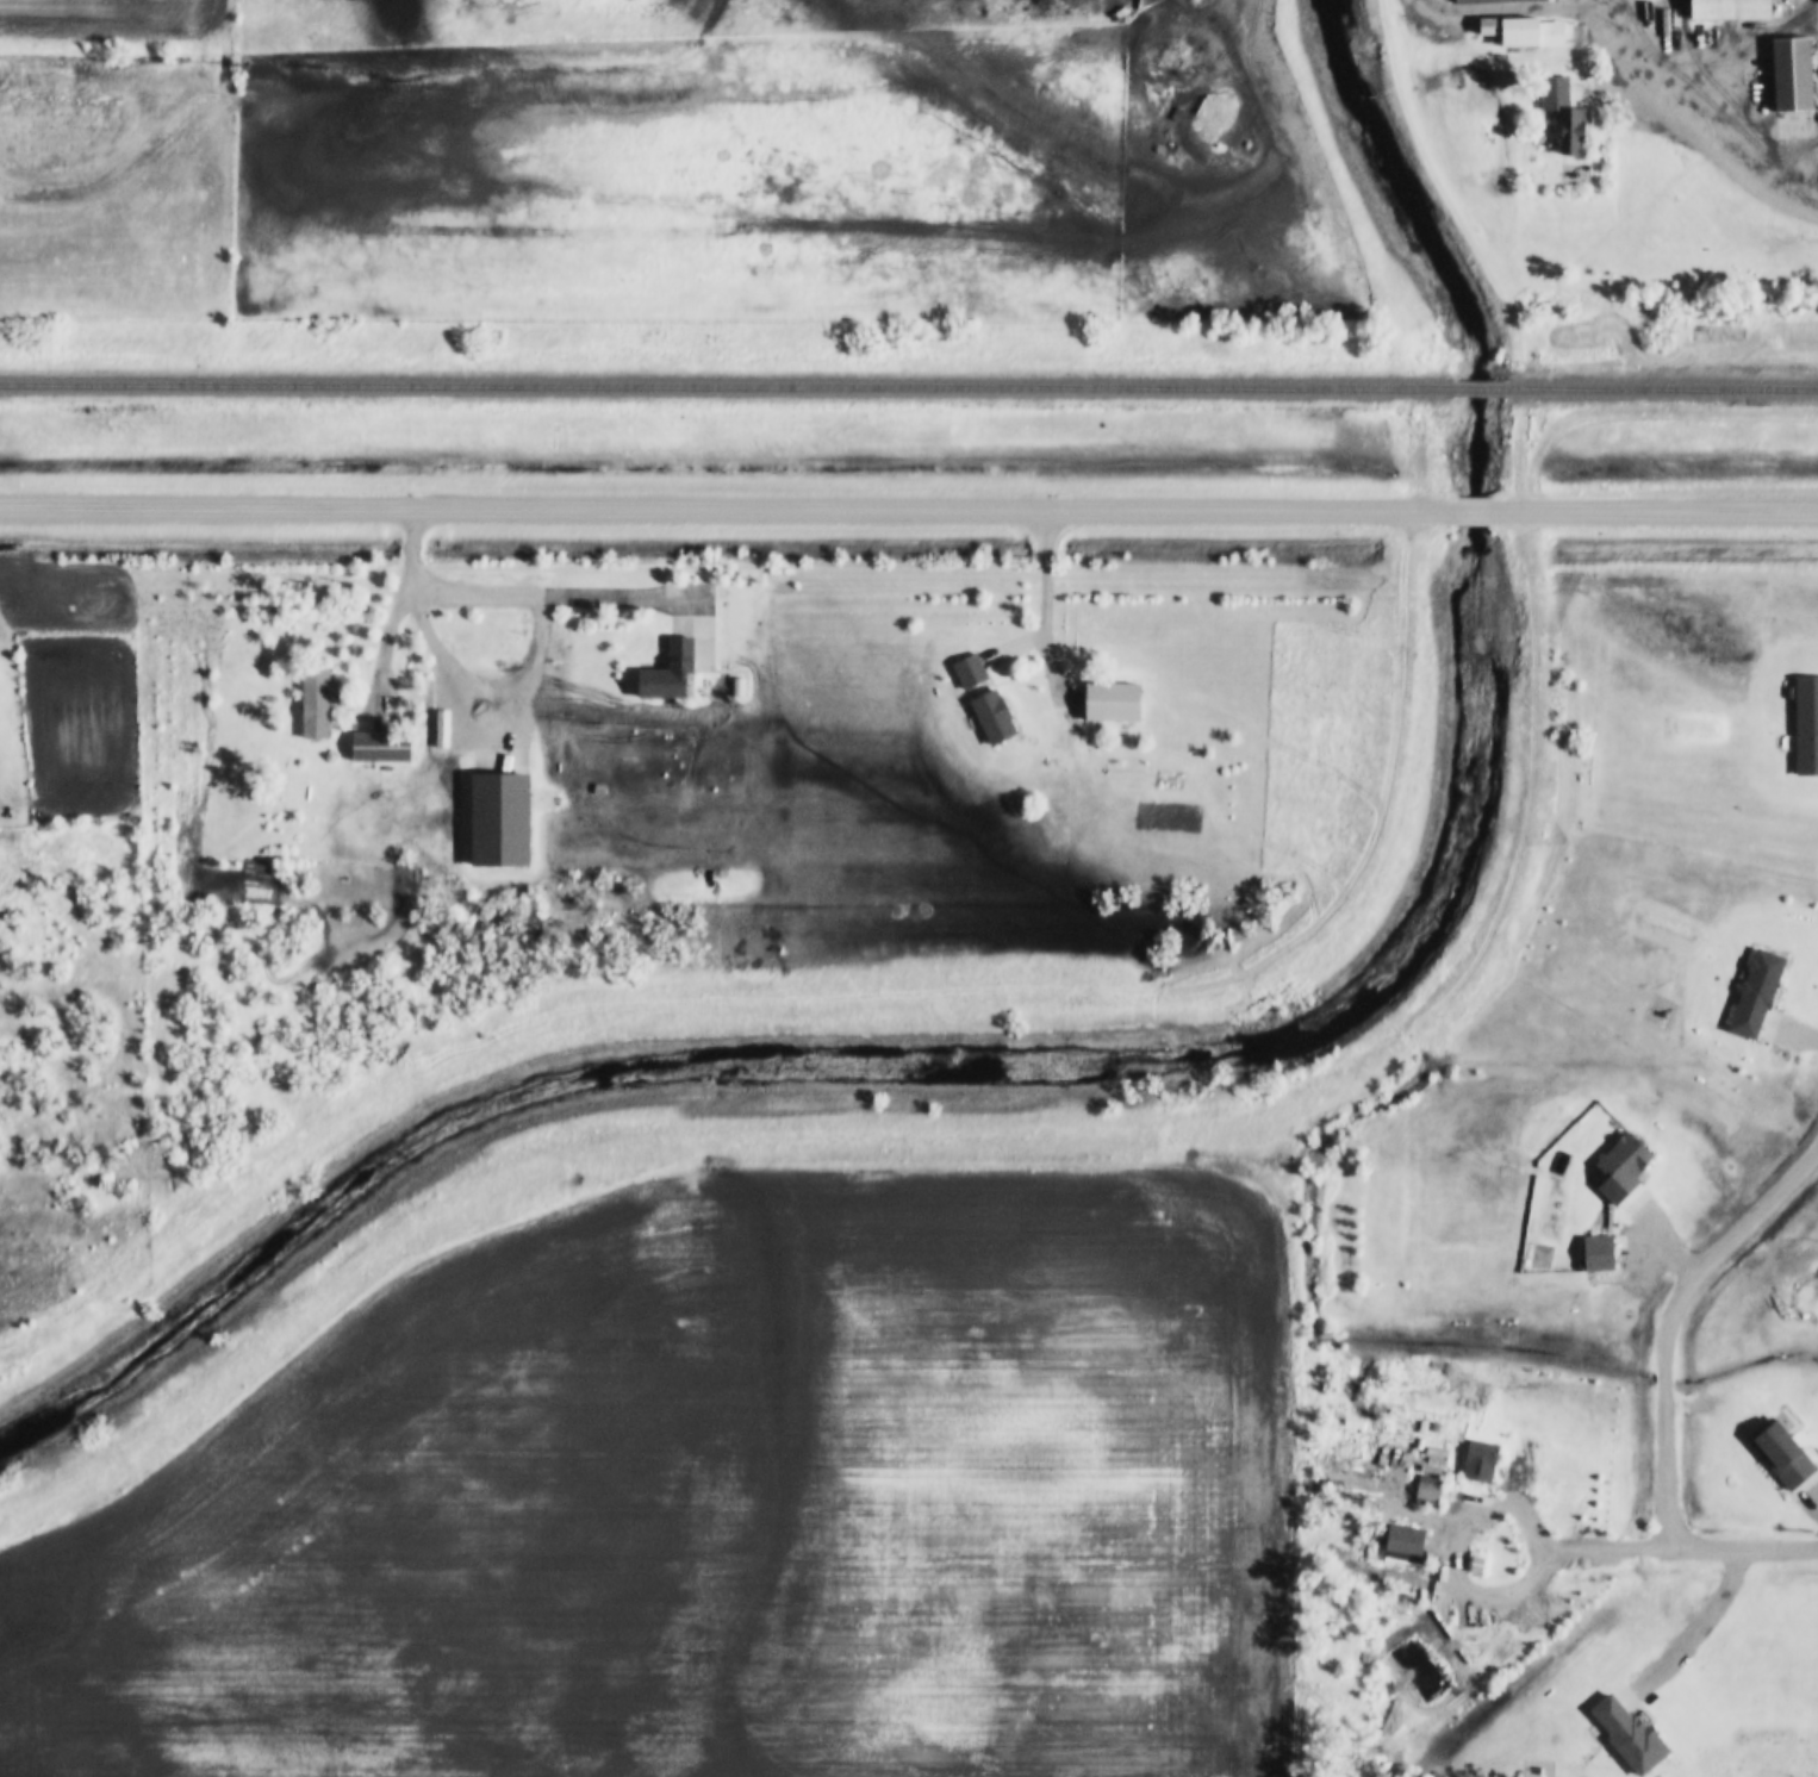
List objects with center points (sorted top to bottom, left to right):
building: (1495, 0)
building: (1730, 10)
crop: (110, 15)
building: (1524, 31)
building: (1792, 75)
building: (1570, 132)
crop: (767, 158)
road: (1758, 179)
crop: (113, 183)
railway: (726, 388)
railway: (1476, 391)
railway: (1660, 391)
road: (724, 505)
road: (1649, 511)
road: (1464, 512)
road: (624, 592)
road: (1045, 609)
road: (693, 629)
building: (969, 672)
building: (668, 674)
road: (522, 687)
building: (315, 703)
building: (1112, 703)
building: (991, 717)
building: (1806, 727)
building: (380, 748)
building: (498, 811)
building: (1758, 999)
building: (1623, 1176)
building: (1598, 1255)
road: (1671, 1395)
building: (1781, 1455)
building: (1480, 1461)
building: (1428, 1491)
road: (1459, 1496)
crop: (721, 1503)
road: (1713, 1627)
building: (1626, 1735)

